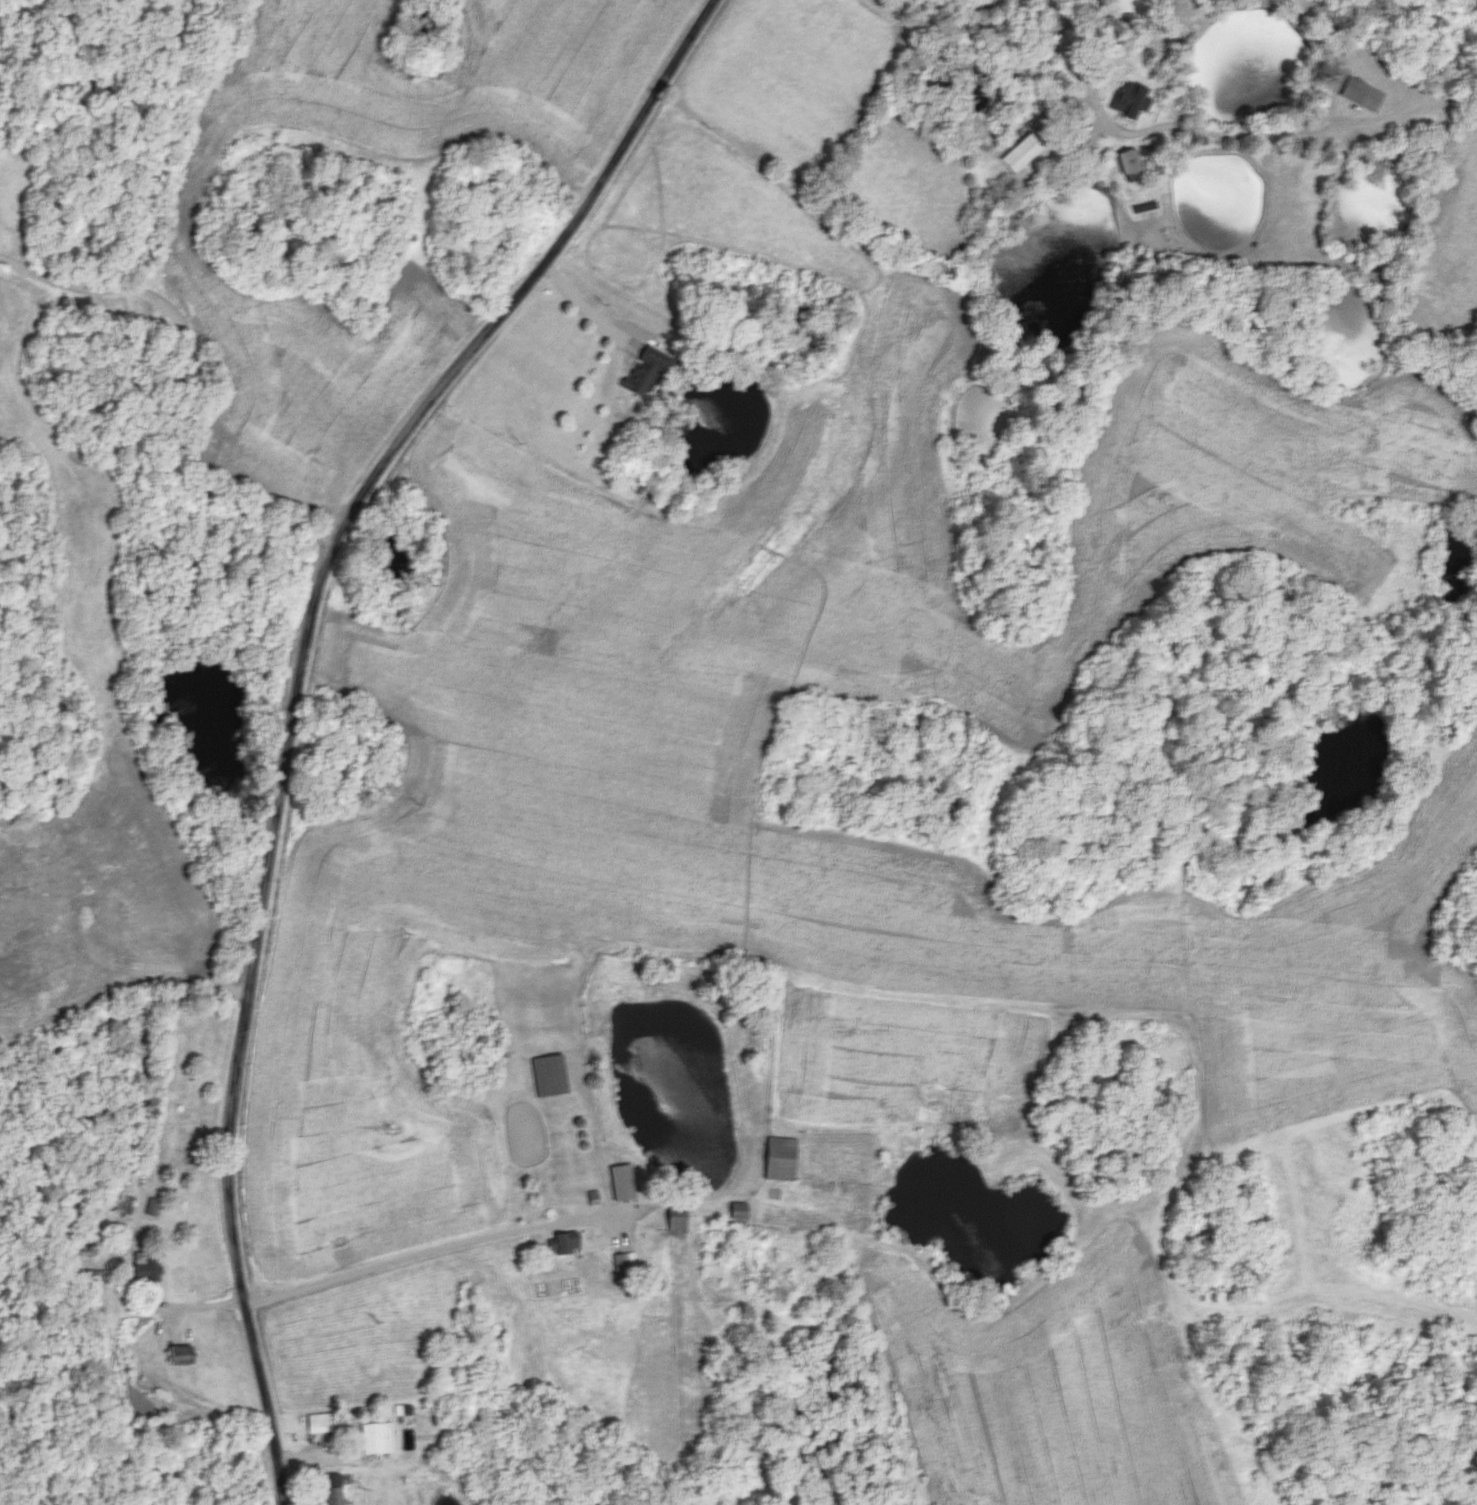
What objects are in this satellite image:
building: (1367, 94)
building: (1127, 101)
road: (1098, 112)
building: (1024, 154)
building: (1134, 166)
road: (579, 304)
building: (652, 371)
road: (185, 393)
road: (293, 693)
road: (119, 1035)
building: (552, 1074)
road: (129, 1104)
building: (782, 1158)
building: (624, 1182)
building: (122, 1202)
building: (680, 1222)
building: (564, 1242)
road: (434, 1247)
building: (625, 1261)
building: (149, 1266)
road: (195, 1305)
building: (186, 1354)
building: (321, 1422)
building: (378, 1437)
building: (333, 1489)

